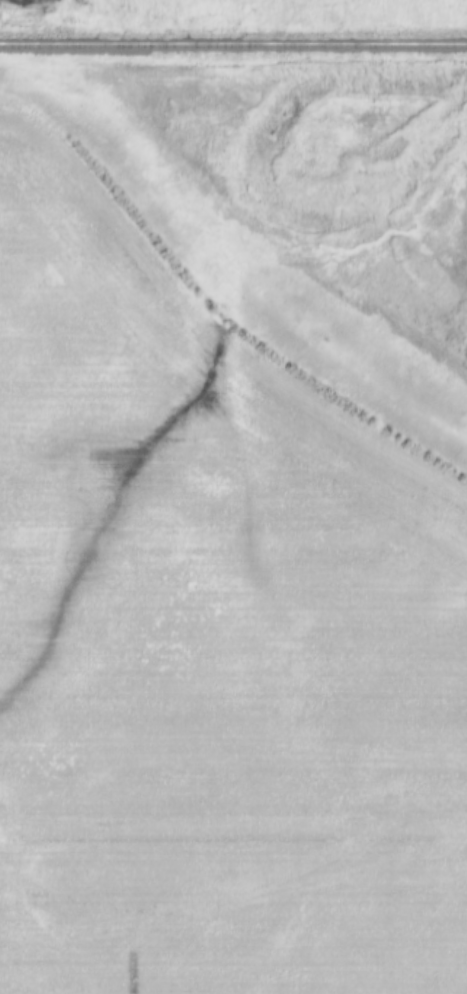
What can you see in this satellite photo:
railway: (233, 47)

